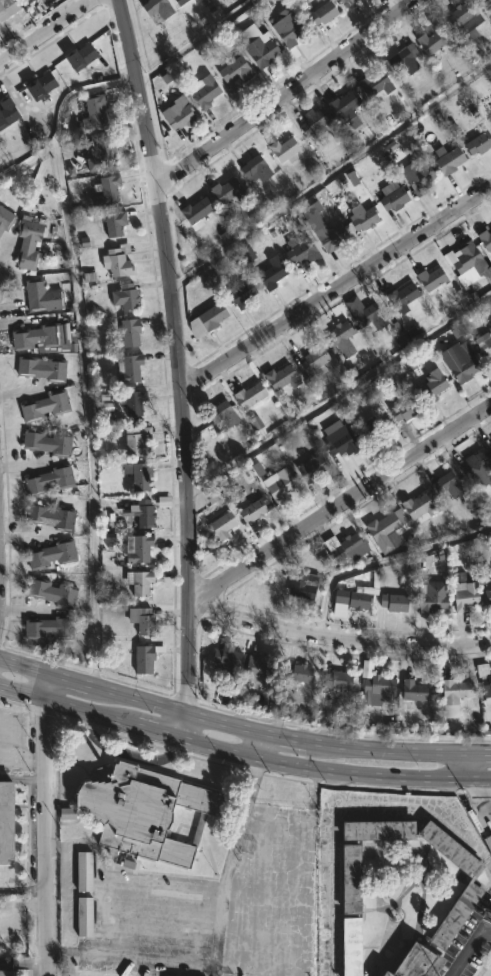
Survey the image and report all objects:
building: (29, 1)
building: (176, 2)
building: (343, 2)
building: (483, 3)
building: (8, 8)
building: (153, 8)
building: (321, 13)
building: (461, 17)
building: (287, 29)
road: (45, 30)
road: (192, 40)
building: (427, 41)
building: (256, 45)
building: (78, 56)
building: (401, 58)
building: (231, 72)
building: (372, 84)
building: (43, 85)
building: (201, 91)
road: (287, 93)
building: (341, 105)
building: (94, 111)
building: (8, 113)
building: (174, 115)
building: (490, 119)
building: (489, 123)
building: (310, 124)
building: (478, 143)
building: (280, 149)
building: (103, 155)
building: (447, 160)
building: (253, 169)
road: (330, 175)
building: (414, 175)
building: (104, 191)
building: (225, 194)
building: (390, 196)
building: (310, 209)
building: (193, 212)
building: (360, 217)
building: (6, 220)
building: (116, 224)
building: (328, 237)
building: (484, 239)
building: (84, 242)
building: (29, 243)
road: (3, 249)
building: (298, 251)
building: (246, 255)
building: (465, 258)
building: (116, 260)
building: (268, 272)
building: (428, 278)
road: (335, 289)
building: (239, 294)
building: (41, 296)
building: (124, 297)
building: (399, 297)
road: (170, 298)
building: (363, 312)
building: (205, 319)
building: (127, 332)
building: (337, 335)
building: (34, 336)
building: (483, 343)
road: (82, 353)
building: (311, 360)
building: (458, 365)
building: (127, 367)
building: (40, 369)
building: (278, 378)
building: (429, 386)
road: (338, 393)
building: (246, 395)
building: (131, 402)
building: (44, 406)
building: (401, 410)
building: (219, 414)
building: (255, 423)
building: (368, 428)
building: (136, 441)
building: (46, 442)
building: (338, 442)
building: (490, 442)
building: (489, 451)
building: (471, 464)
building: (309, 469)
building: (135, 476)
building: (48, 480)
building: (277, 486)
building: (444, 486)
building: (211, 495)
building: (235, 495)
building: (163, 501)
road: (341, 505)
building: (416, 509)
building: (251, 510)
building: (141, 514)
building: (49, 517)
building: (220, 525)
building: (380, 526)
building: (108, 537)
building: (346, 549)
building: (137, 551)
building: (51, 554)
building: (136, 582)
building: (301, 586)
building: (51, 593)
building: (463, 597)
building: (487, 597)
building: (351, 598)
building: (429, 598)
building: (391, 603)
building: (139, 620)
building: (48, 628)
road: (337, 640)
building: (142, 658)
building: (224, 658)
road: (23, 669)
road: (187, 669)
building: (257, 670)
building: (490, 672)
building: (296, 674)
building: (484, 678)
building: (335, 681)
road: (69, 682)
building: (375, 690)
building: (455, 690)
building: (410, 691)
road: (93, 711)
road: (170, 711)
road: (278, 740)
road: (249, 746)
road: (390, 750)
road: (483, 750)
road: (474, 764)
road: (336, 774)
road: (22, 776)
road: (482, 796)
road: (489, 805)
building: (145, 810)
building: (67, 814)
road: (330, 814)
road: (46, 825)
building: (373, 829)
building: (6, 835)
building: (487, 843)
building: (84, 870)
building: (346, 878)
building: (466, 885)
road: (24, 888)
building: (84, 916)
building: (346, 945)
road: (468, 947)
building: (410, 962)
road: (24, 963)
building: (7, 972)
building: (164, 975)

